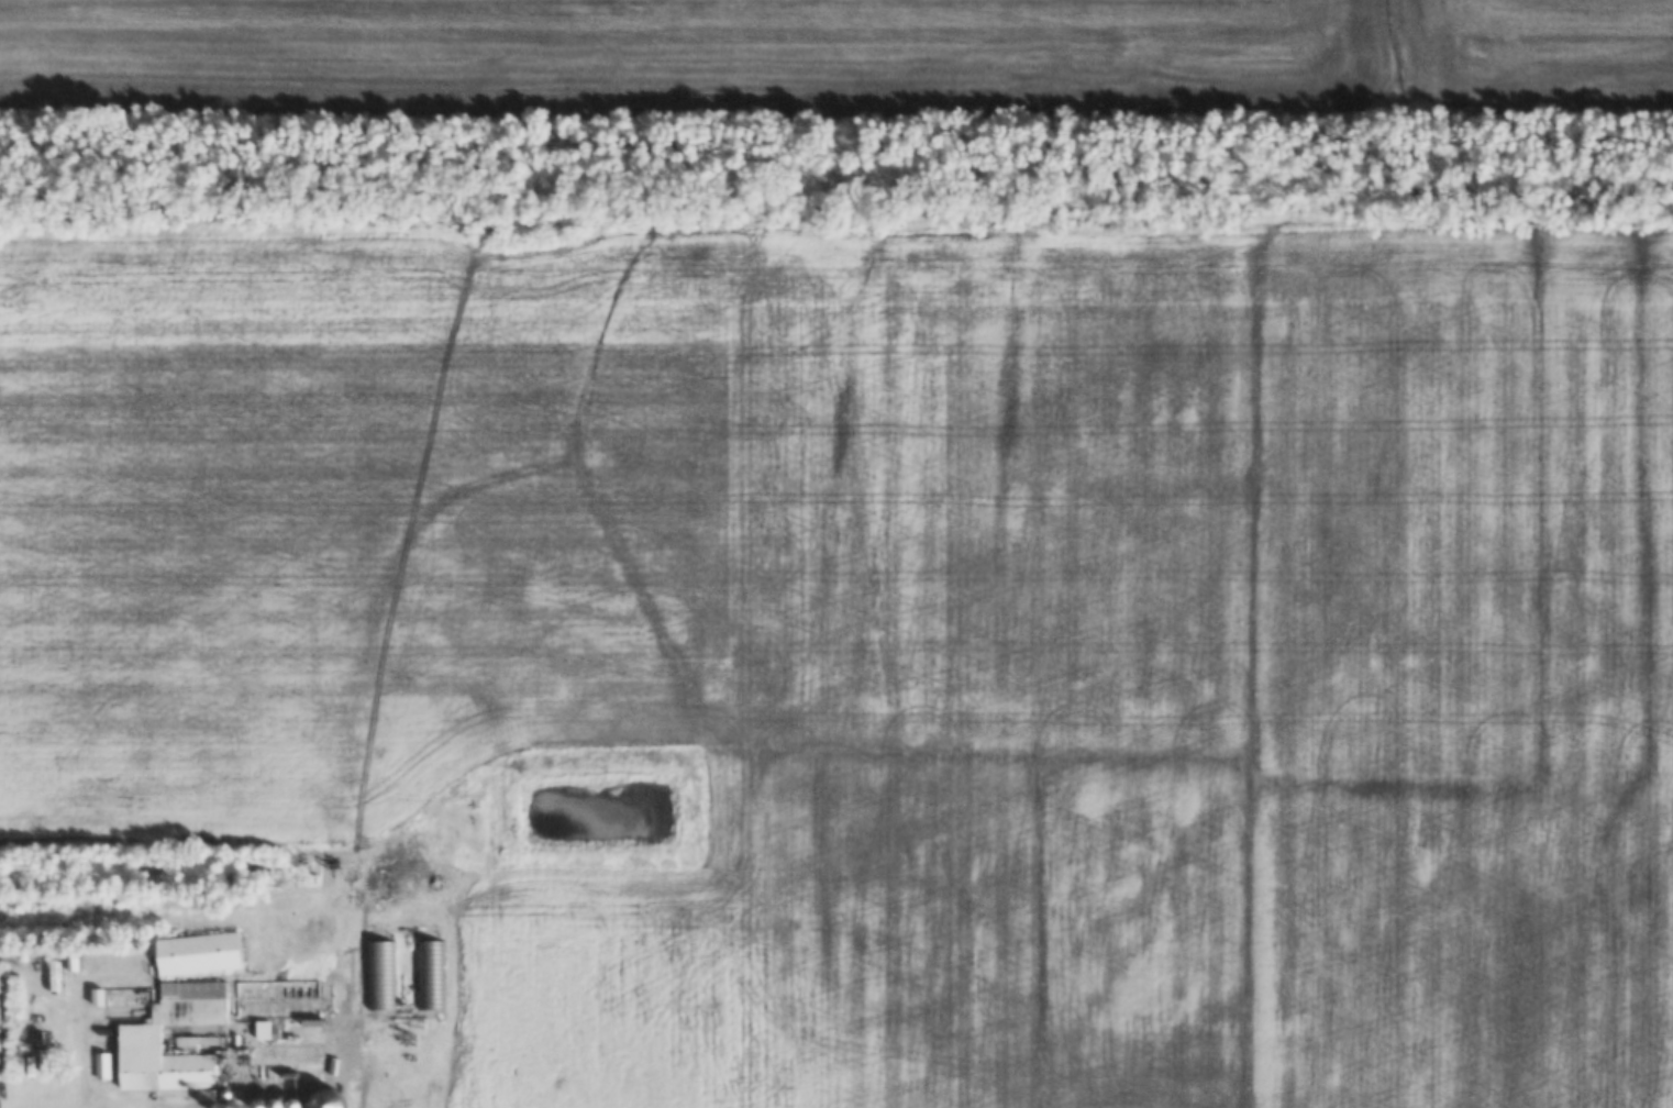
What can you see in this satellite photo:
building: (196, 954)
building: (379, 975)
building: (275, 1000)
building: (158, 1034)
building: (325, 1056)
building: (284, 1076)

